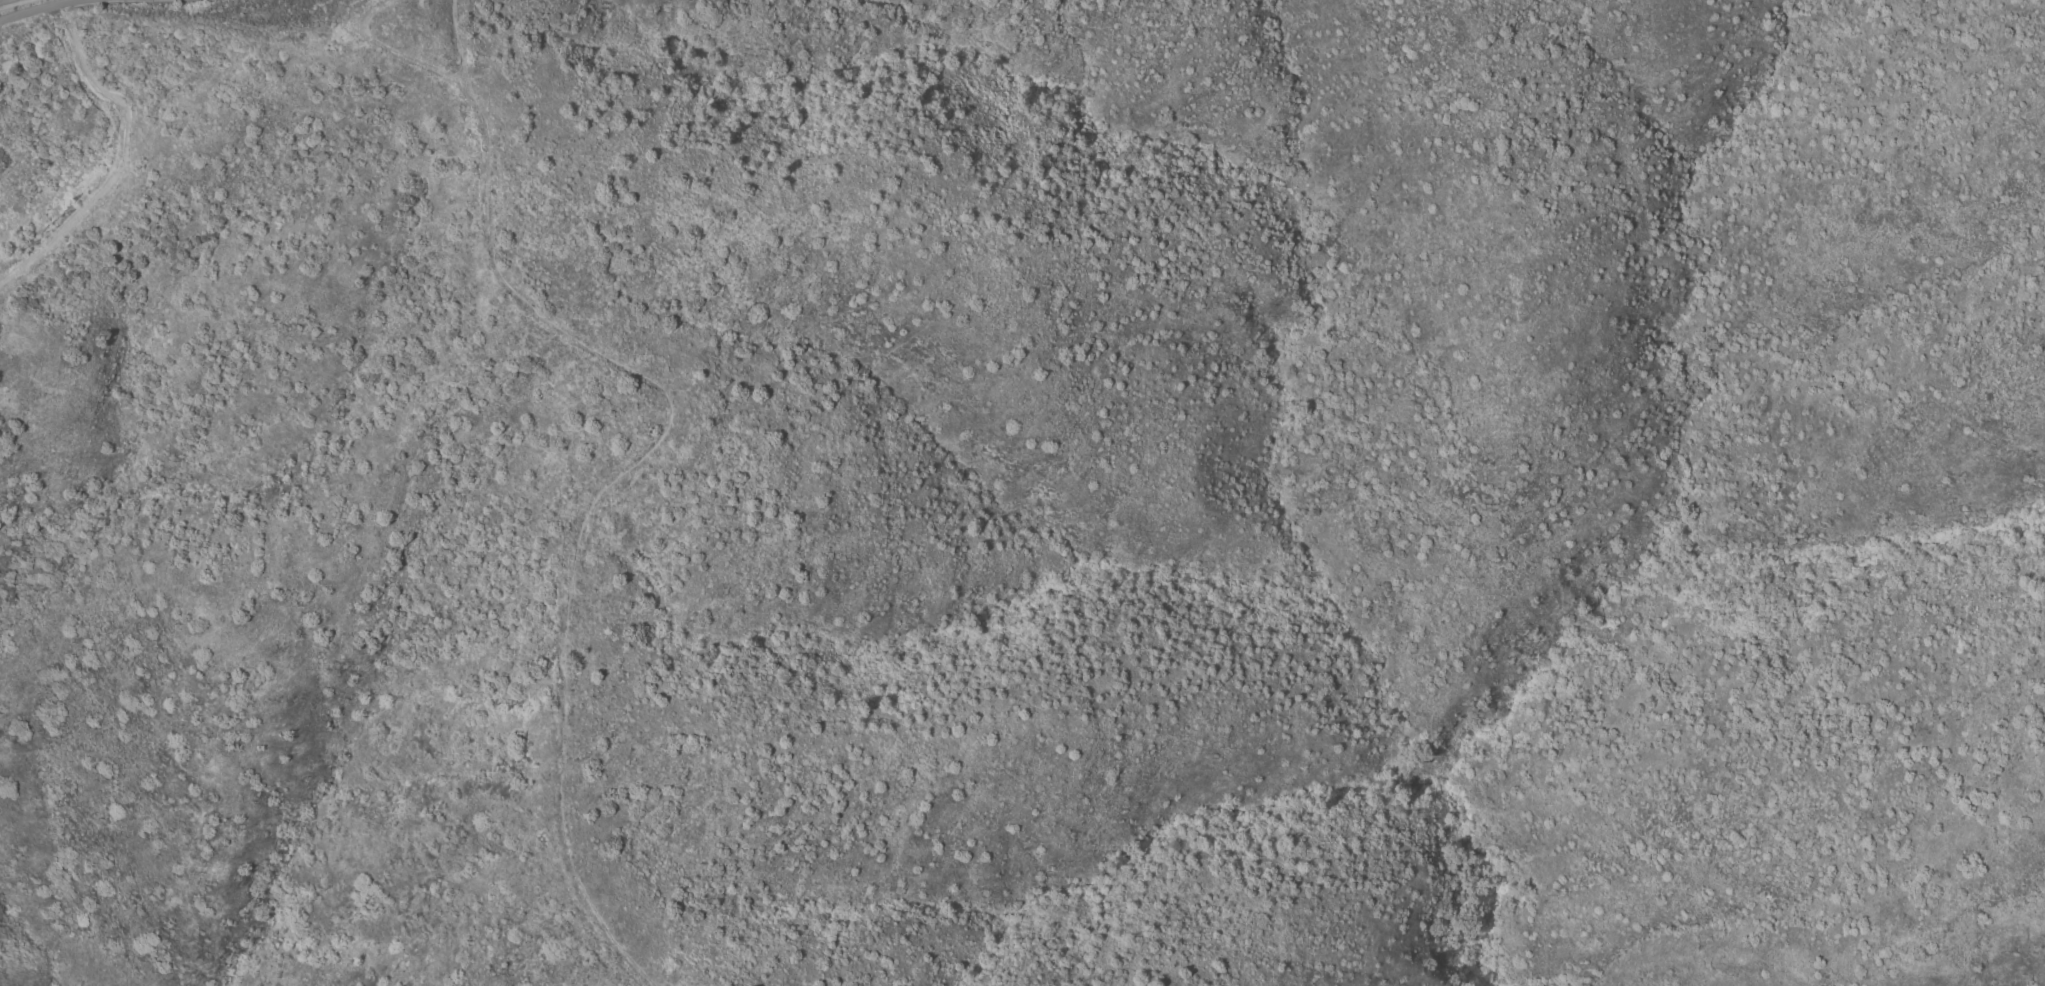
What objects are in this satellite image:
landfill: (18, 4)
landfill: (18, 4)
road: (42, 6)
road: (636, 461)

